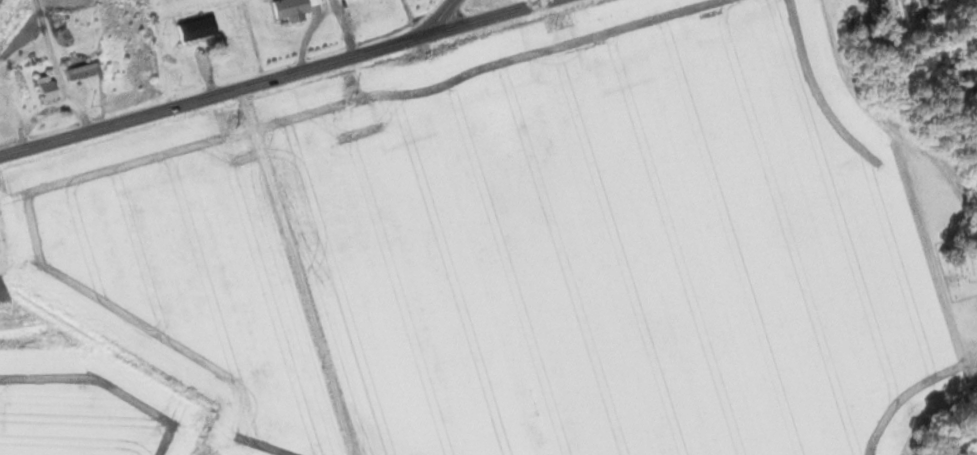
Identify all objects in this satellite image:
building: (294, 7)
road: (443, 17)
building: (202, 28)
building: (87, 70)
road: (276, 77)
building: (50, 88)
road: (51, 108)
building: (1, 245)

